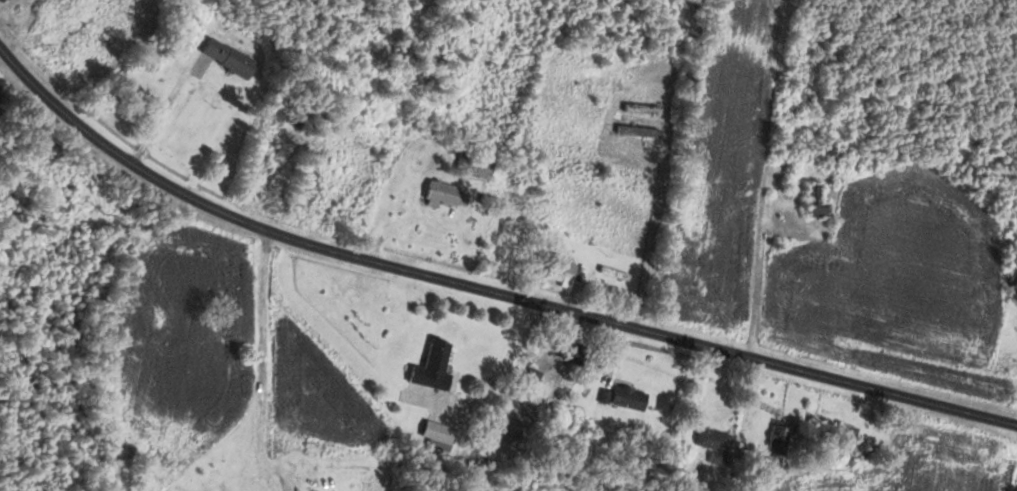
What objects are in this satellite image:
building: (3, 0)
building: (228, 57)
building: (593, 95)
building: (442, 193)
building: (816, 202)
road: (659, 225)
building: (561, 271)
building: (615, 273)
road: (482, 290)
road: (69, 317)
building: (573, 352)
road: (263, 359)
building: (433, 366)
road: (568, 396)
building: (629, 398)
building: (847, 433)
building: (438, 435)
building: (781, 437)
building: (714, 444)
road: (253, 486)

